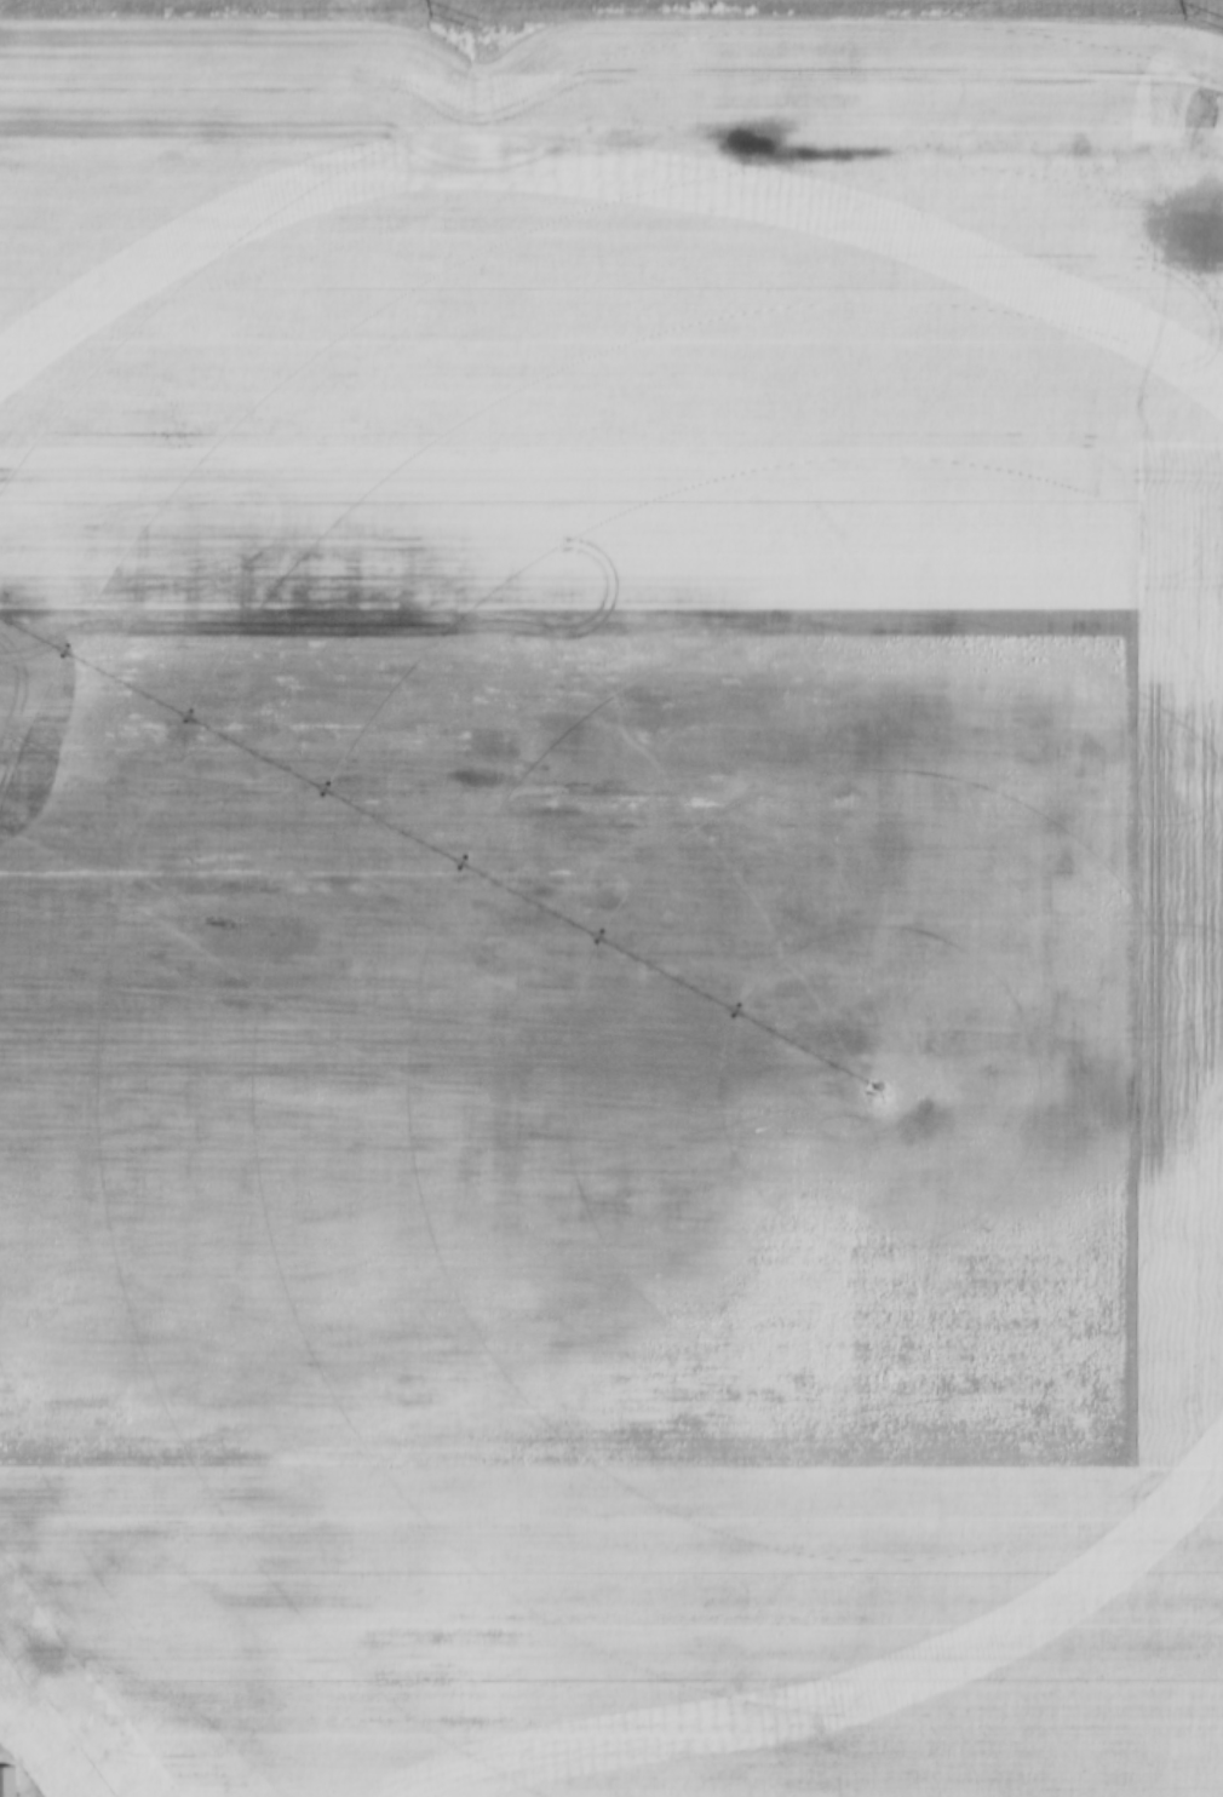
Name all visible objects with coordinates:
building: (10, 1782)

